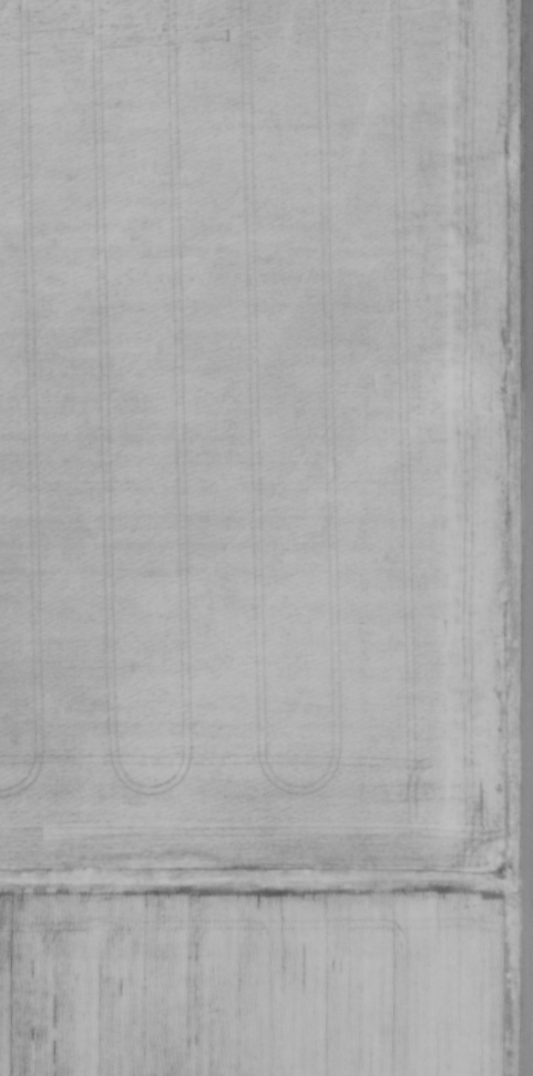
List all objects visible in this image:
road: (530, 537)

